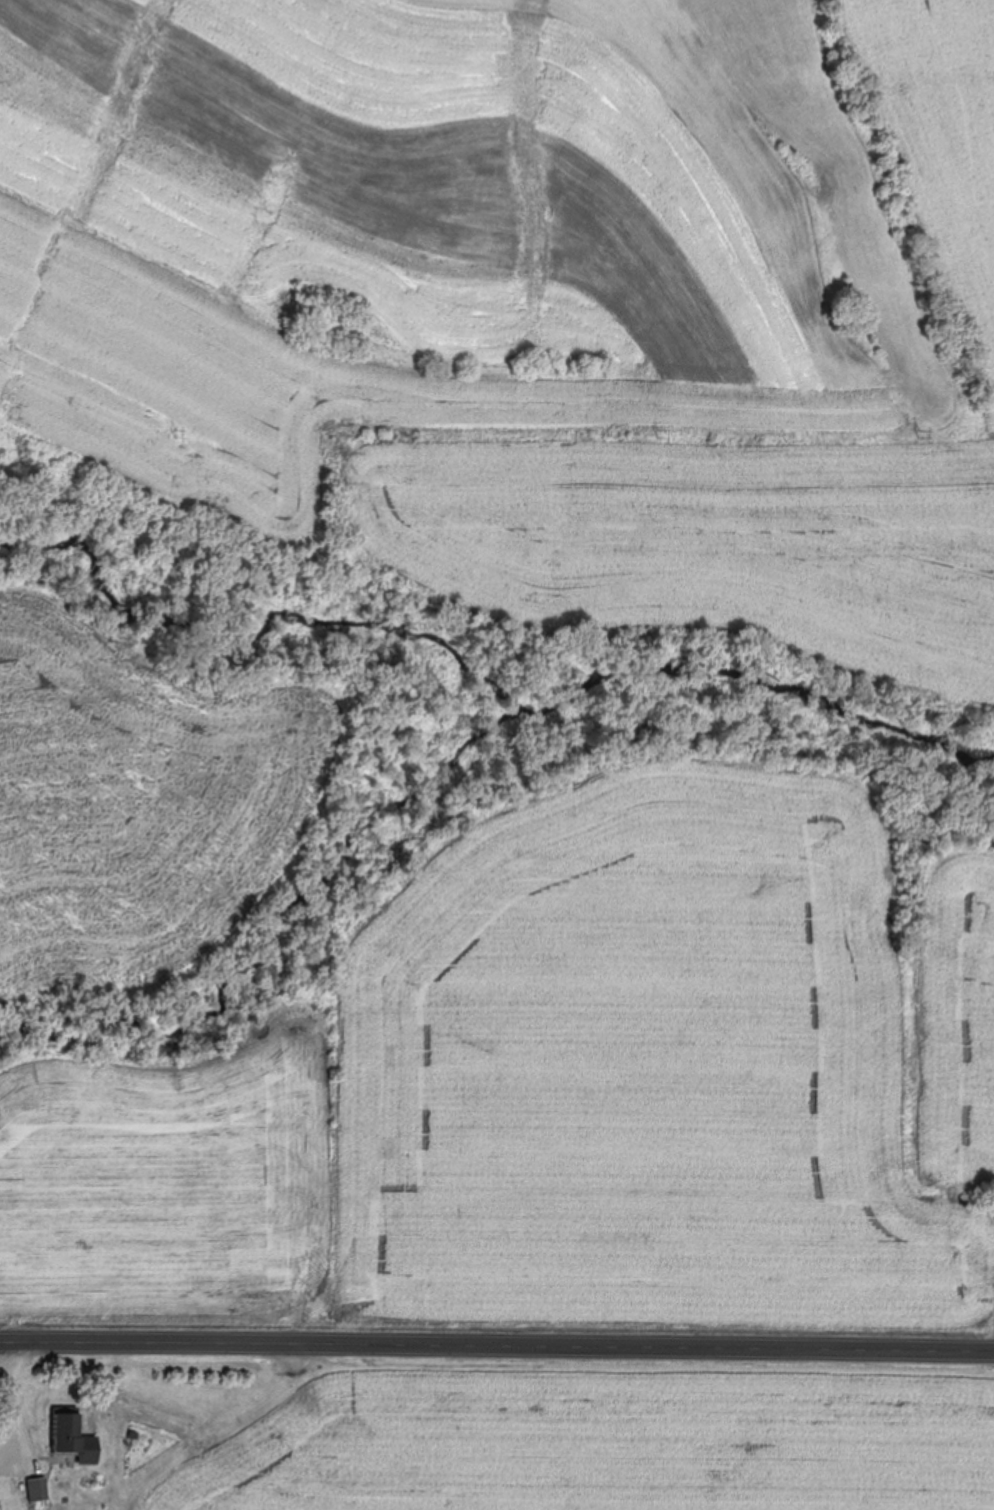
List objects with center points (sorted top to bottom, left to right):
road: (497, 1344)
road: (2, 1383)
building: (71, 1437)
building: (35, 1487)

